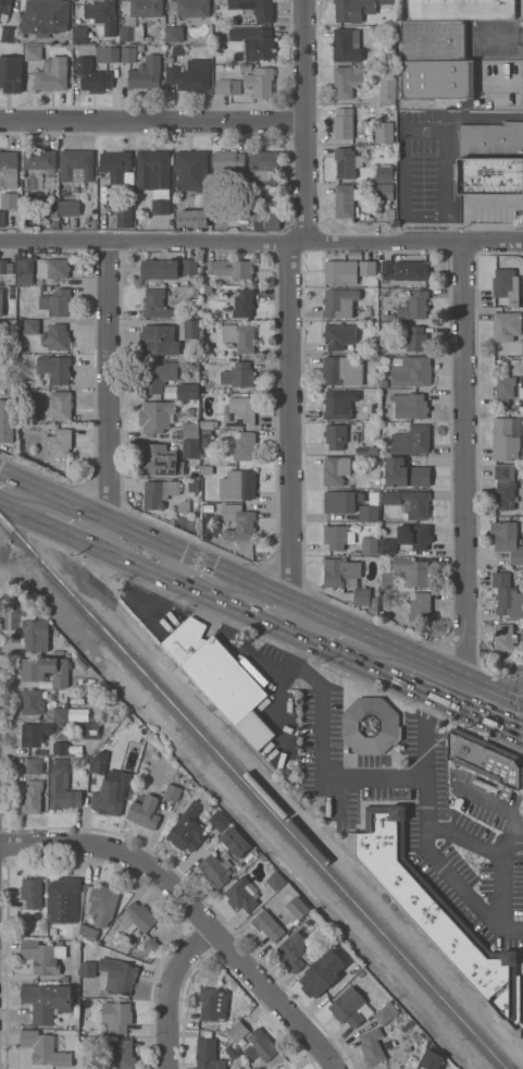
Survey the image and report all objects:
building: (385, 1)
building: (99, 8)
building: (142, 8)
building: (190, 8)
building: (256, 8)
building: (353, 9)
building: (461, 9)
building: (4, 10)
building: (46, 16)
building: (80, 33)
building: (132, 33)
building: (8, 34)
building: (174, 34)
building: (148, 39)
building: (434, 39)
road: (499, 39)
building: (254, 41)
building: (347, 45)
building: (178, 50)
building: (33, 52)
building: (107, 53)
building: (128, 54)
building: (170, 60)
building: (245, 67)
building: (11, 74)
building: (52, 74)
building: (146, 74)
building: (92, 75)
building: (191, 75)
building: (438, 78)
building: (348, 81)
building: (260, 82)
road: (503, 84)
building: (228, 87)
building: (388, 89)
road: (476, 116)
road: (153, 122)
building: (344, 123)
building: (384, 132)
building: (491, 140)
building: (40, 159)
building: (228, 160)
building: (347, 162)
building: (77, 165)
building: (264, 165)
building: (117, 167)
building: (8, 168)
building: (191, 170)
building: (385, 173)
building: (490, 175)
building: (154, 177)
building: (383, 192)
building: (10, 200)
building: (103, 200)
building: (346, 200)
building: (70, 208)
building: (48, 209)
building: (203, 210)
building: (112, 211)
road: (403, 213)
building: (125, 217)
building: (190, 218)
building: (1, 219)
building: (264, 219)
building: (94, 224)
road: (261, 241)
building: (5, 267)
building: (189, 267)
building: (53, 268)
building: (231, 268)
building: (368, 268)
building: (160, 269)
building: (386, 270)
building: (410, 270)
building: (25, 271)
building: (340, 272)
building: (506, 283)
building: (1, 302)
building: (57, 303)
building: (339, 303)
building: (155, 304)
building: (244, 304)
building: (414, 306)
road: (289, 314)
building: (32, 327)
building: (507, 327)
building: (191, 329)
building: (339, 335)
building: (3, 336)
building: (58, 336)
building: (240, 336)
building: (158, 340)
building: (416, 340)
building: (196, 366)
building: (54, 368)
building: (341, 370)
building: (411, 370)
building: (238, 374)
building: (157, 376)
building: (384, 382)
building: (505, 390)
building: (187, 391)
road: (105, 393)
building: (171, 393)
building: (521, 393)
building: (62, 405)
building: (338, 405)
building: (410, 405)
building: (374, 408)
building: (240, 411)
building: (190, 413)
building: (157, 416)
building: (7, 422)
building: (207, 425)
building: (190, 430)
building: (336, 435)
building: (411, 440)
building: (505, 440)
building: (60, 443)
building: (244, 444)
building: (190, 447)
building: (375, 450)
building: (362, 452)
building: (159, 459)
road: (466, 460)
building: (207, 470)
building: (335, 470)
building: (406, 474)
building: (195, 475)
road: (20, 481)
building: (238, 484)
building: (505, 487)
building: (159, 492)
building: (195, 494)
building: (374, 497)
building: (341, 501)
building: (410, 502)
building: (253, 505)
building: (184, 506)
building: (209, 507)
road: (22, 511)
building: (195, 512)
building: (369, 513)
road: (111, 520)
building: (238, 521)
road: (72, 533)
building: (337, 536)
building: (421, 538)
building: (507, 539)
building: (370, 545)
building: (387, 545)
road: (135, 563)
building: (340, 570)
building: (411, 572)
road: (237, 574)
building: (387, 580)
road: (170, 581)
building: (352, 582)
road: (188, 588)
building: (507, 595)
building: (365, 599)
road: (222, 602)
building: (418, 605)
road: (334, 617)
road: (264, 620)
building: (36, 635)
building: (505, 638)
road: (326, 648)
building: (47, 669)
road: (448, 669)
road: (379, 672)
building: (221, 678)
building: (32, 701)
road: (461, 710)
building: (61, 714)
building: (373, 726)
building: (87, 730)
building: (35, 733)
building: (61, 748)
building: (486, 760)
building: (35, 765)
building: (98, 765)
building: (62, 786)
road: (336, 788)
building: (173, 792)
railway: (253, 792)
building: (32, 797)
building: (109, 797)
parking lot: (421, 807)
building: (144, 810)
railway: (287, 814)
building: (220, 820)
building: (188, 828)
building: (235, 841)
road: (507, 843)
road: (490, 851)
building: (215, 869)
road: (451, 878)
building: (276, 881)
building: (32, 892)
building: (241, 895)
building: (63, 899)
building: (102, 904)
road: (196, 907)
building: (298, 907)
building: (437, 909)
building: (137, 917)
building: (267, 925)
building: (88, 933)
building: (292, 951)
building: (43, 956)
building: (322, 974)
building: (121, 976)
road: (171, 990)
building: (47, 1002)
building: (213, 1003)
building: (350, 1005)
building: (385, 1013)
building: (116, 1016)
building: (238, 1031)
building: (262, 1044)
building: (372, 1046)
building: (45, 1048)
building: (124, 1054)
building: (208, 1055)
building: (432, 1059)

